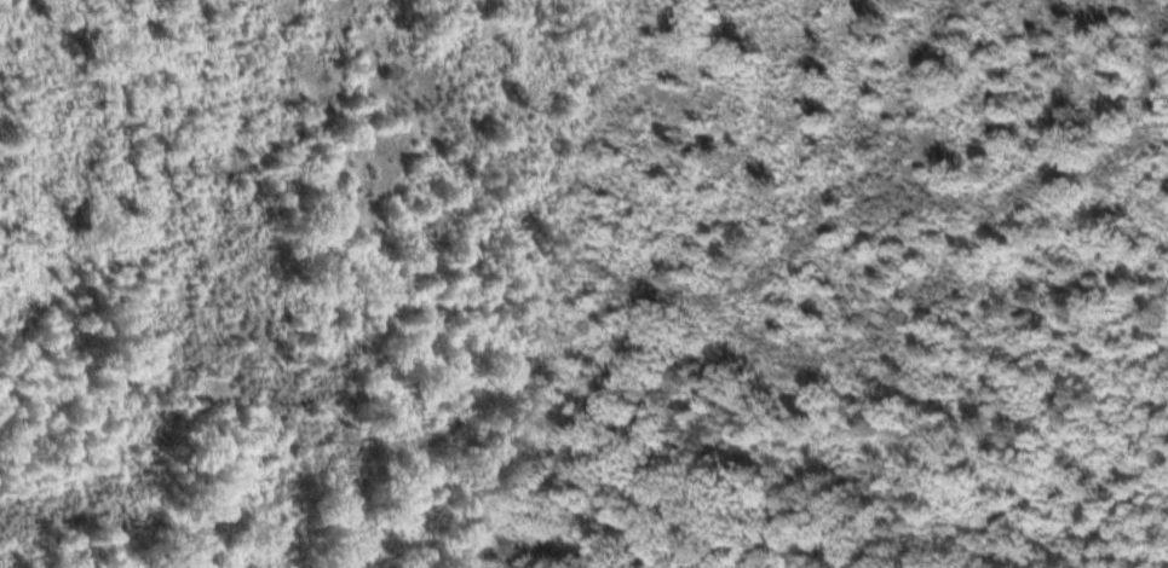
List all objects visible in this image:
road: (529, 307)

